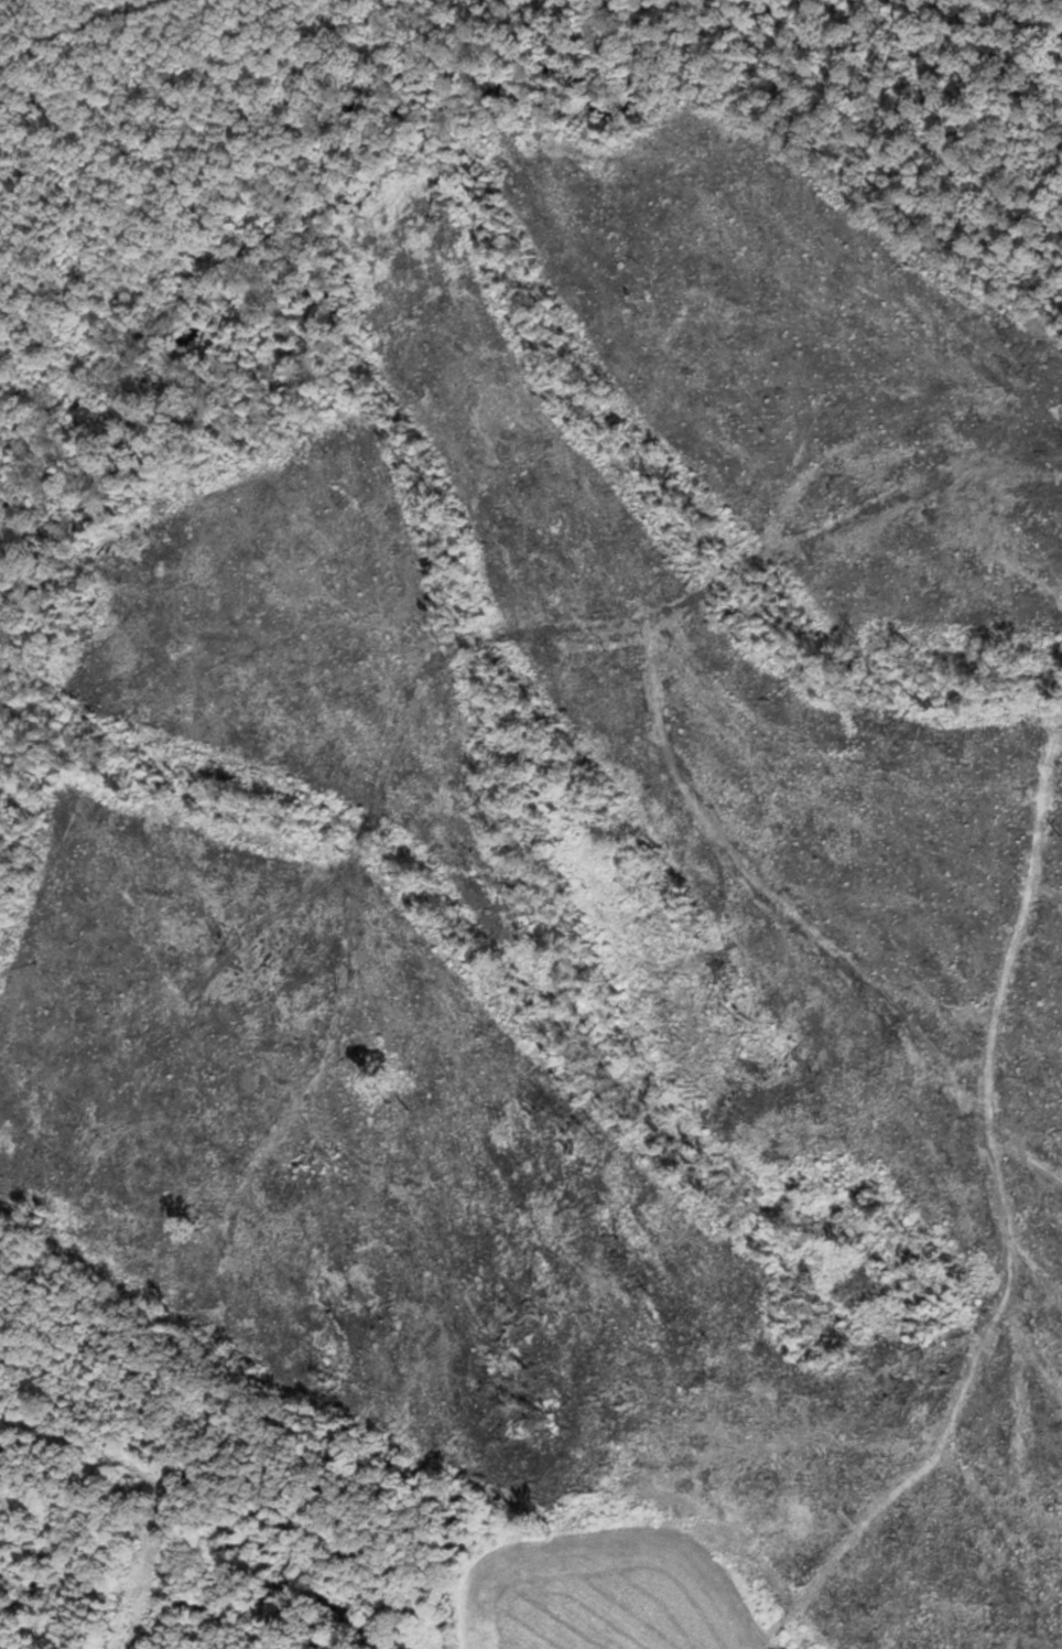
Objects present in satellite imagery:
road: (935, 1174)

